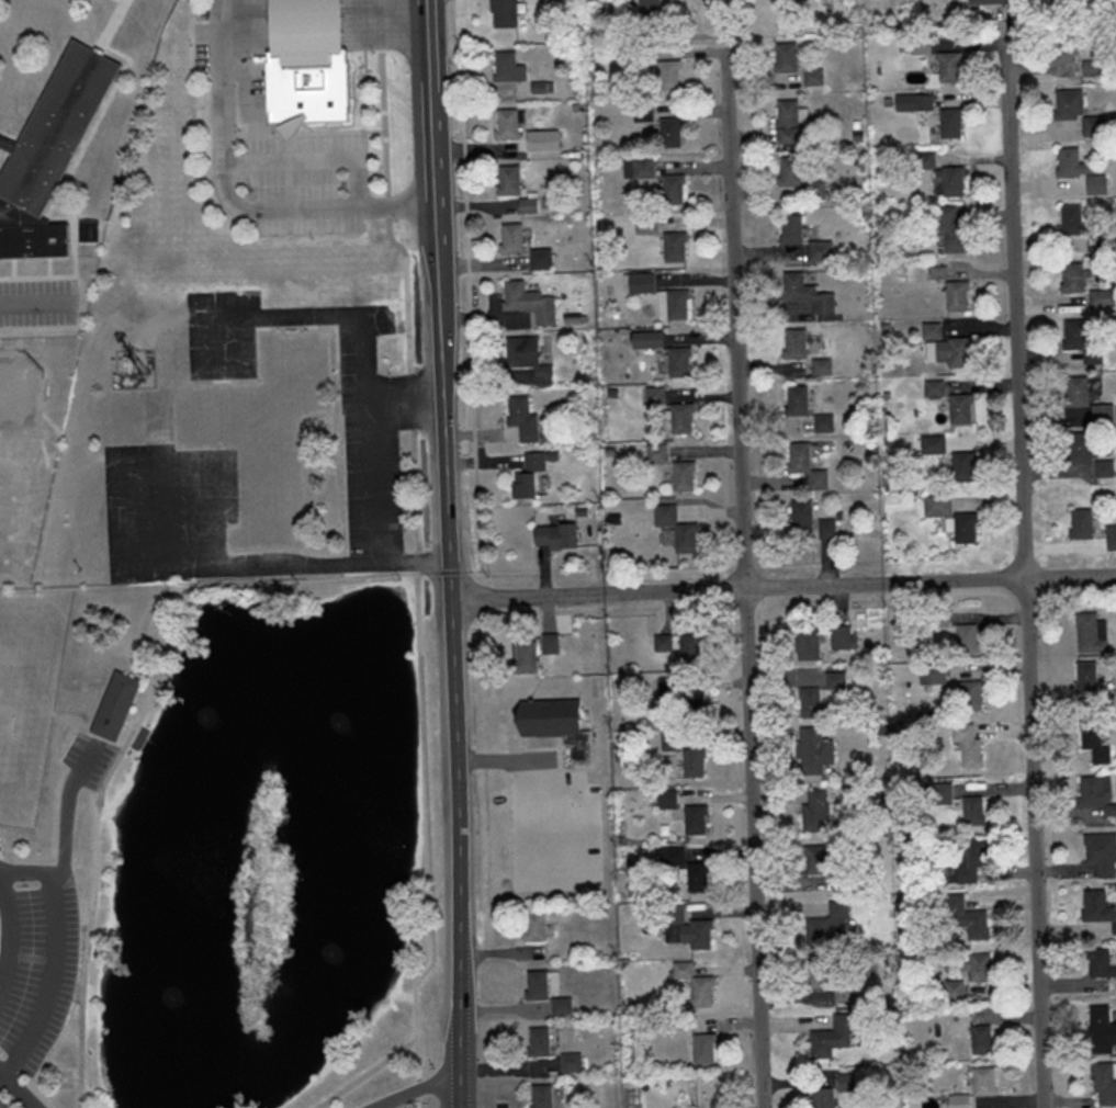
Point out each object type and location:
building: (987, 1)
road: (229, 7)
road: (388, 8)
road: (309, 13)
building: (506, 13)
road: (426, 21)
building: (917, 46)
building: (1061, 47)
building: (788, 57)
building: (311, 63)
building: (510, 66)
building: (947, 67)
building: (1095, 68)
building: (670, 75)
building: (814, 77)
building: (1074, 112)
building: (790, 122)
building: (509, 123)
building: (948, 124)
building: (673, 132)
road: (227, 134)
building: (534, 140)
building: (50, 156)
building: (640, 167)
building: (791, 170)
building: (1076, 170)
building: (511, 180)
parking lot: (314, 181)
building: (950, 181)
building: (675, 189)
building: (530, 204)
road: (313, 206)
building: (1068, 219)
building: (646, 224)
building: (792, 228)
building: (948, 228)
building: (514, 237)
building: (1098, 241)
building: (677, 246)
building: (822, 250)
building: (542, 258)
building: (1070, 278)
building: (641, 282)
road: (412, 283)
building: (807, 293)
building: (955, 295)
building: (1103, 297)
building: (530, 301)
road: (37, 302)
parking lot: (41, 303)
building: (675, 304)
road: (319, 313)
building: (649, 339)
building: (1078, 341)
building: (791, 343)
building: (945, 351)
building: (528, 354)
building: (681, 361)
building: (1073, 391)
building: (794, 399)
building: (958, 408)
building: (1102, 412)
building: (525, 418)
building: (683, 419)
building: (822, 422)
building: (266, 432)
building: (931, 444)
building: (1075, 448)
building: (658, 453)
park: (20, 460)
building: (802, 464)
building: (959, 466)
building: (1102, 468)
building: (686, 476)
building: (531, 477)
building: (798, 516)
building: (1078, 523)
building: (961, 529)
building: (824, 530)
building: (557, 536)
building: (1109, 536)
building: (686, 540)
road: (408, 559)
road: (370, 561)
road: (383, 573)
road: (1025, 573)
road: (448, 575)
road: (743, 578)
road: (782, 587)
building: (1089, 633)
building: (841, 637)
building: (965, 637)
building: (551, 643)
building: (661, 643)
building: (805, 645)
building: (686, 648)
building: (528, 655)
building: (1083, 676)
building: (833, 680)
building: (968, 696)
building: (811, 704)
building: (115, 706)
building: (690, 706)
park: (9, 716)
building: (555, 716)
road: (98, 742)
road: (131, 743)
building: (1093, 744)
building: (966, 745)
building: (812, 750)
building: (691, 762)
building: (940, 793)
building: (1093, 793)
building: (665, 799)
road: (67, 805)
building: (813, 811)
building: (972, 811)
building: (692, 819)
road: (433, 828)
building: (1100, 853)
building: (812, 859)
building: (967, 860)
building: (695, 877)
building: (1095, 906)
building: (963, 920)
building: (828, 923)
building: (537, 927)
building: (681, 928)
road: (13, 934)
road: (59, 960)
building: (1098, 964)
building: (977, 968)
parking lot: (35, 970)
building: (825, 980)
building: (692, 984)
building: (540, 986)
building: (951, 990)
building: (564, 1006)
building: (1100, 1030)
building: (830, 1037)
building: (979, 1039)
building: (541, 1042)
building: (701, 1049)
building: (573, 1062)
road: (372, 1073)
building: (981, 1081)
building: (844, 1082)
building: (1103, 1083)
road: (20, 1086)
road: (418, 1089)
building: (544, 1096)
building: (820, 1098)
building: (957, 1101)
road: (37, 1107)

